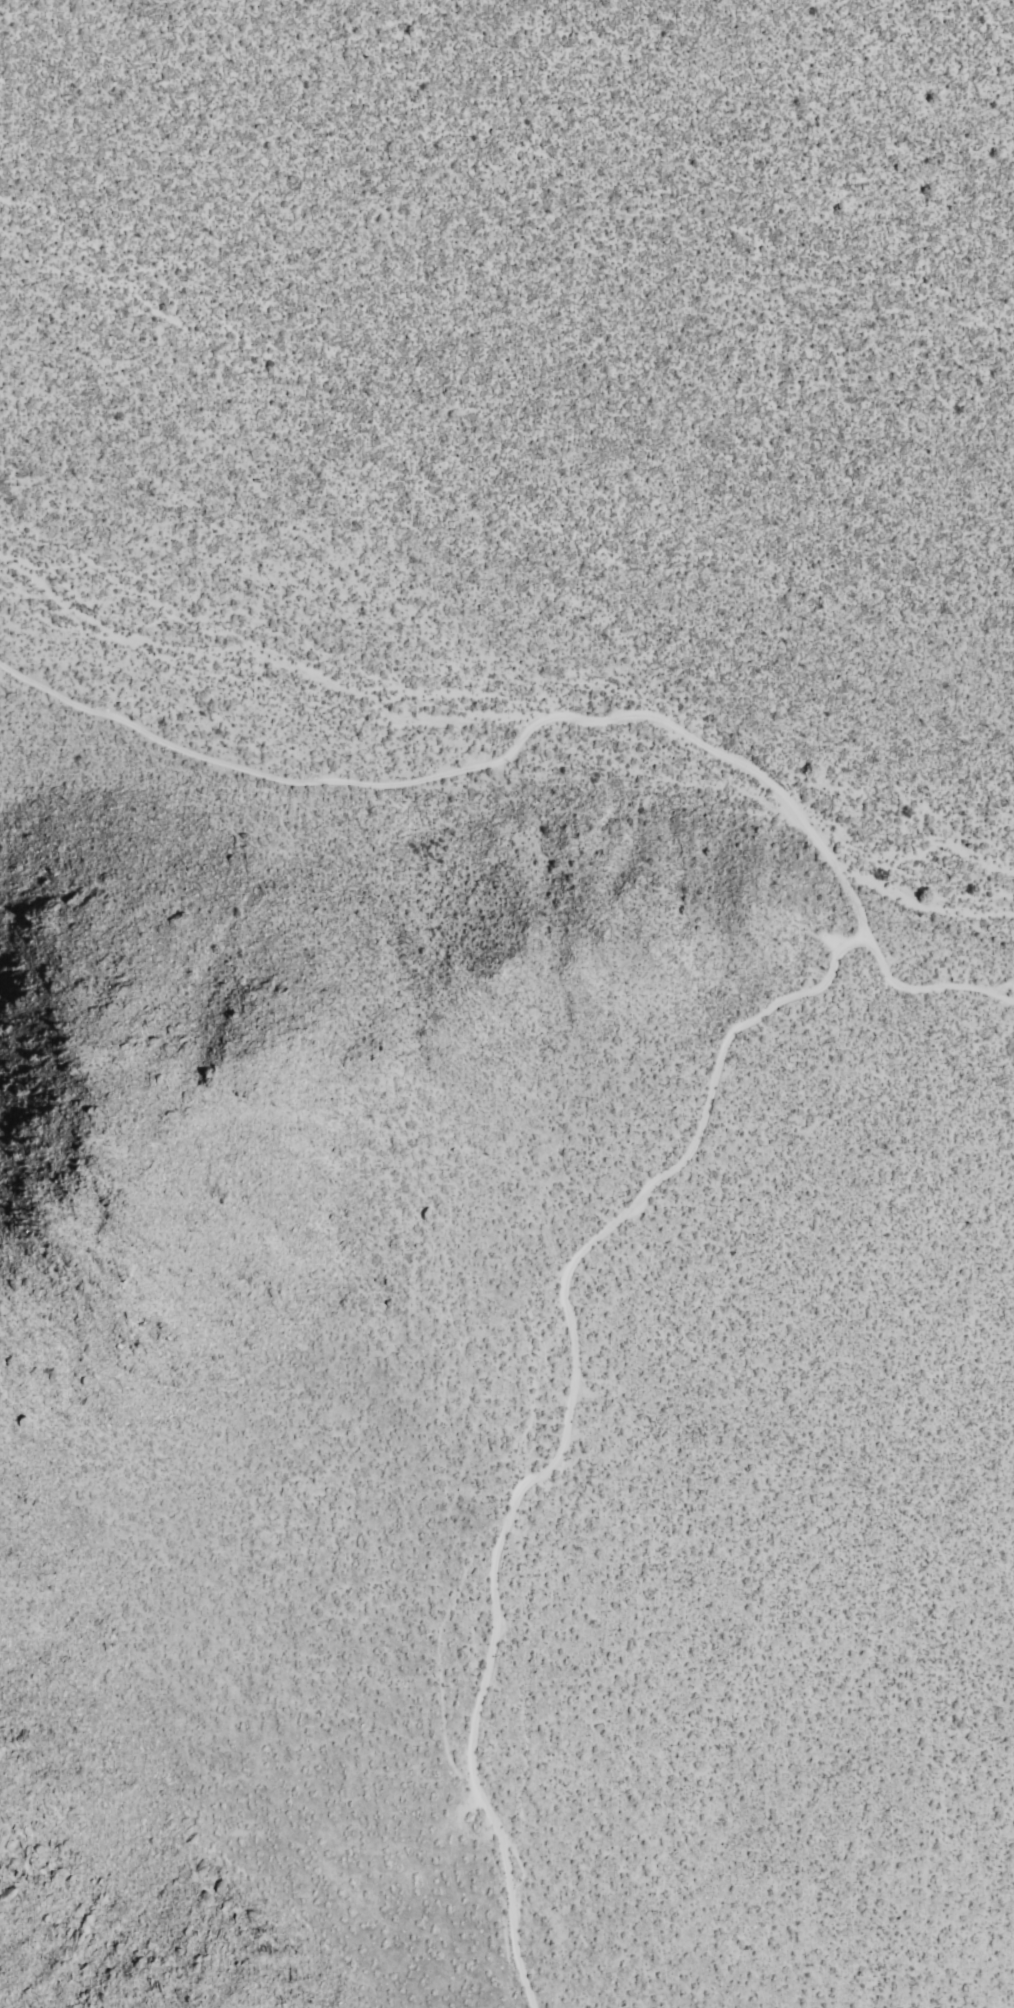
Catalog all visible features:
road: (925, 987)
road: (776, 1003)

